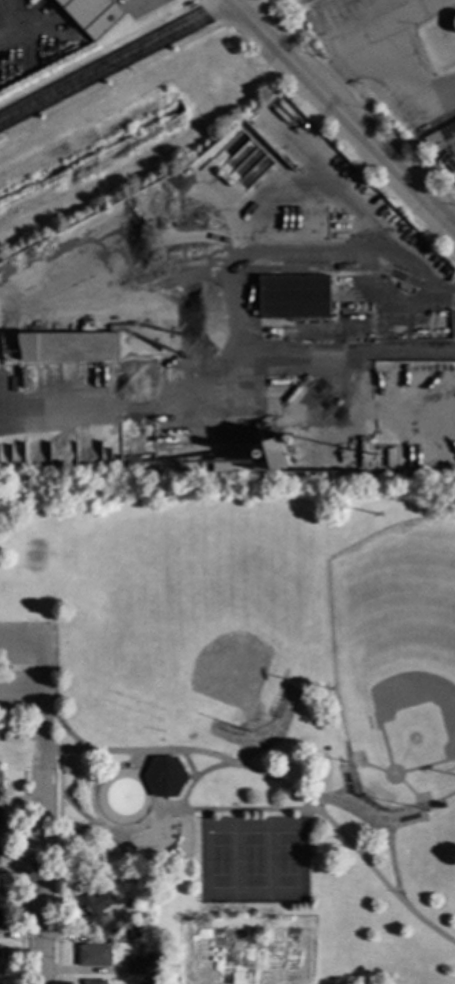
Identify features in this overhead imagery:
road: (232, 0)
building: (92, 16)
road: (393, 20)
road: (116, 62)
road: (386, 65)
road: (344, 114)
building: (439, 132)
building: (431, 150)
building: (294, 298)
building: (64, 347)
road: (305, 350)
building: (276, 454)
building: (130, 461)
park: (198, 607)
park: (397, 661)
parking lot: (27, 666)
road: (37, 668)
road: (19, 687)
park: (247, 710)
road: (62, 728)
building: (12, 737)
road: (187, 766)
road: (215, 766)
road: (96, 777)
building: (0, 778)
building: (164, 778)
road: (277, 780)
road: (184, 794)
building: (441, 806)
road: (309, 808)
road: (351, 810)
road: (173, 811)
building: (1, 818)
road: (73, 833)
road: (38, 857)
park: (251, 859)
road: (56, 867)
road: (392, 867)
road: (21, 878)
building: (138, 880)
building: (0, 881)
building: (96, 915)
building: (0, 921)
building: (118, 925)
building: (126, 925)
building: (135, 935)
building: (0, 950)
building: (93, 956)
building: (136, 966)
building: (94, 982)

